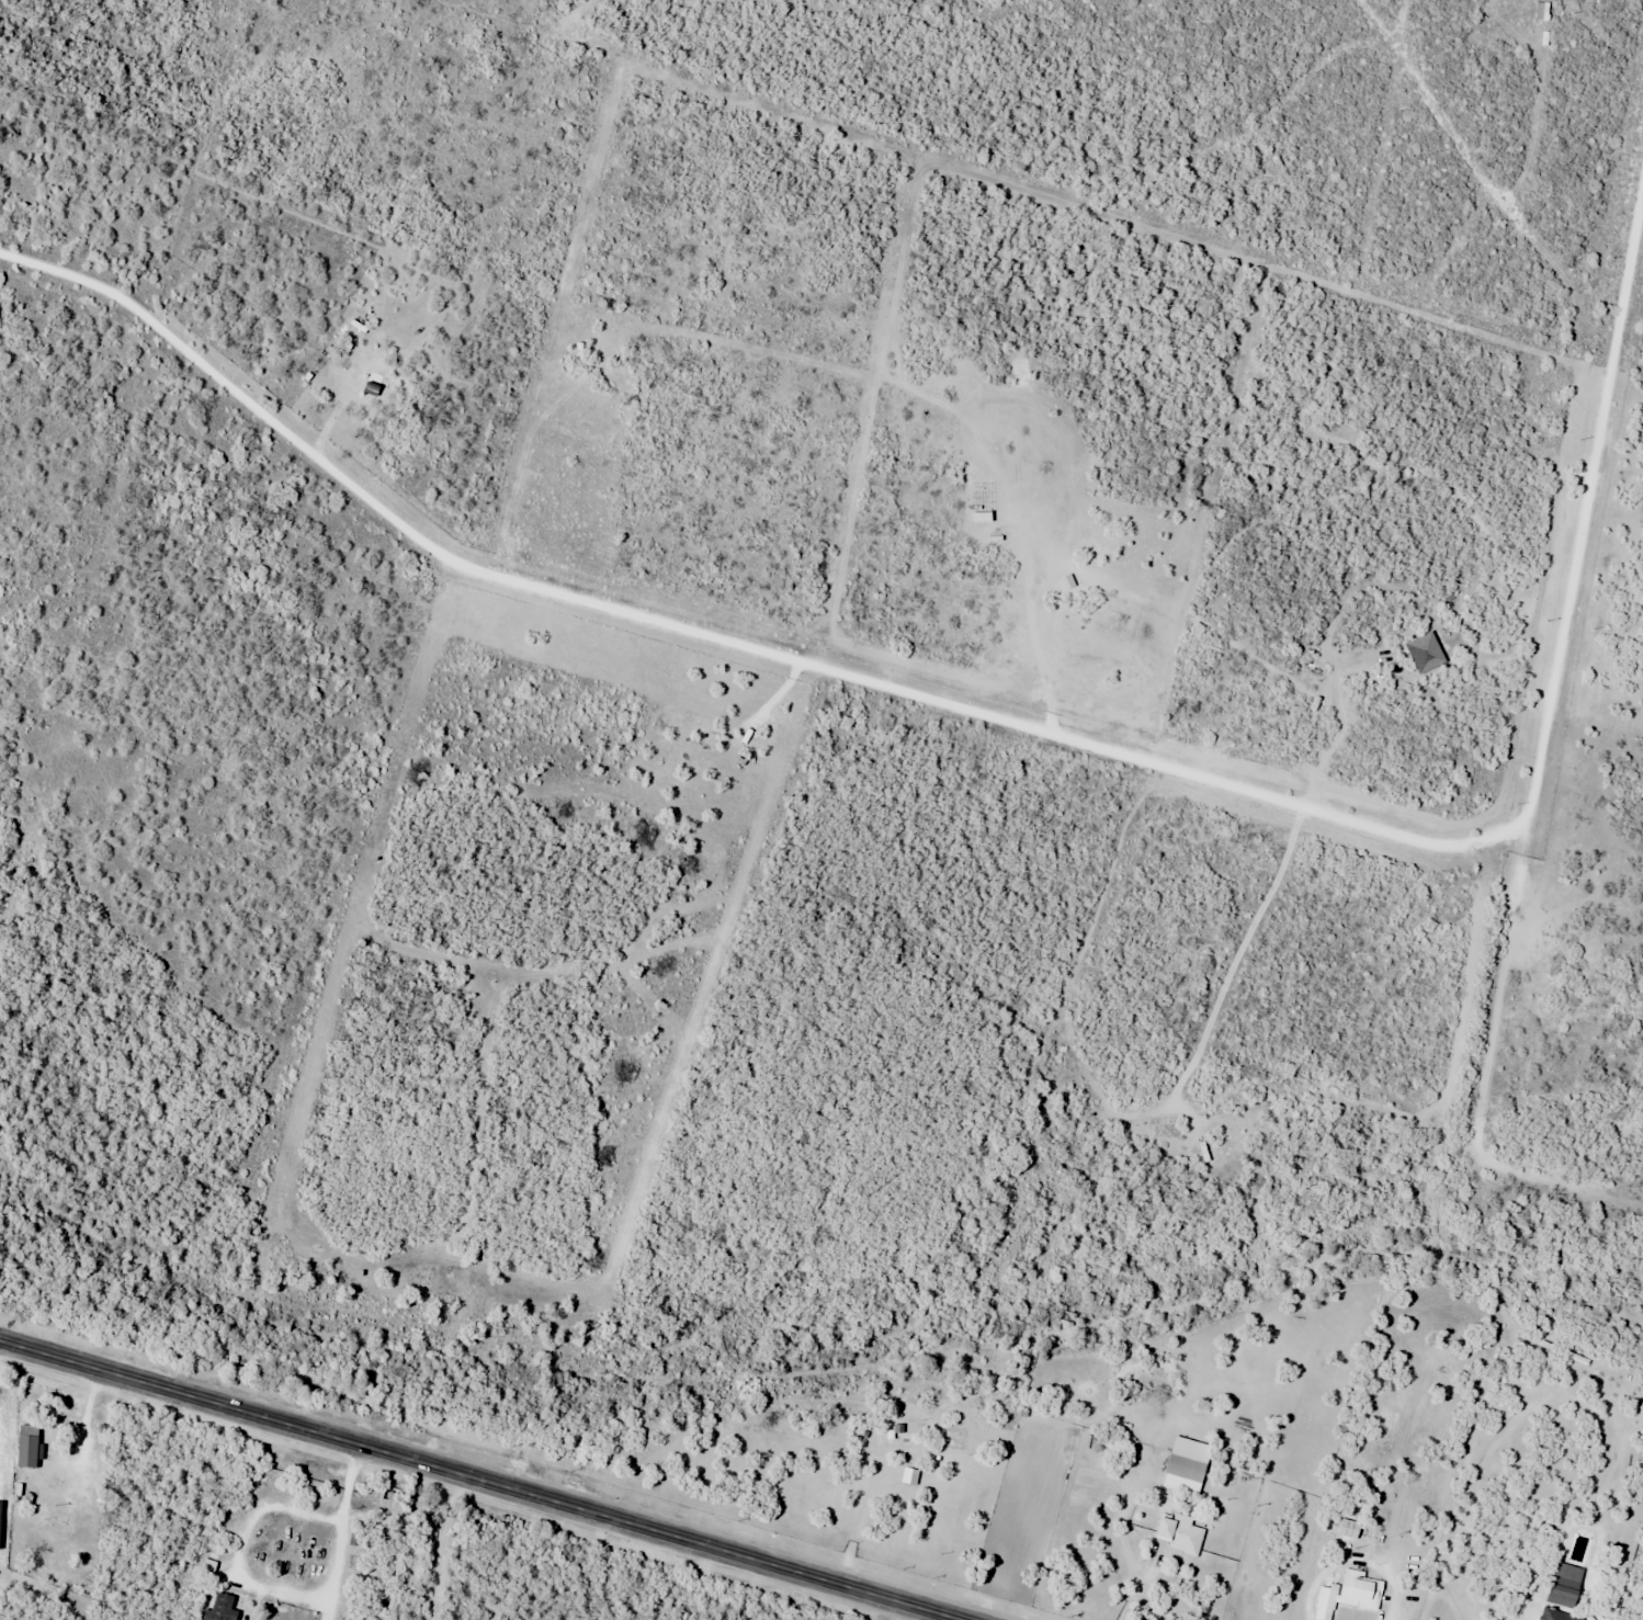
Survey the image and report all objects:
building: (897, 1430)
building: (27, 1446)
building: (1185, 1470)
road: (481, 1480)
building: (395, 1502)
building: (1348, 1529)
road: (341, 1531)
building: (1180, 1534)
building: (1348, 1595)
building: (222, 1608)
building: (1555, 1616)

